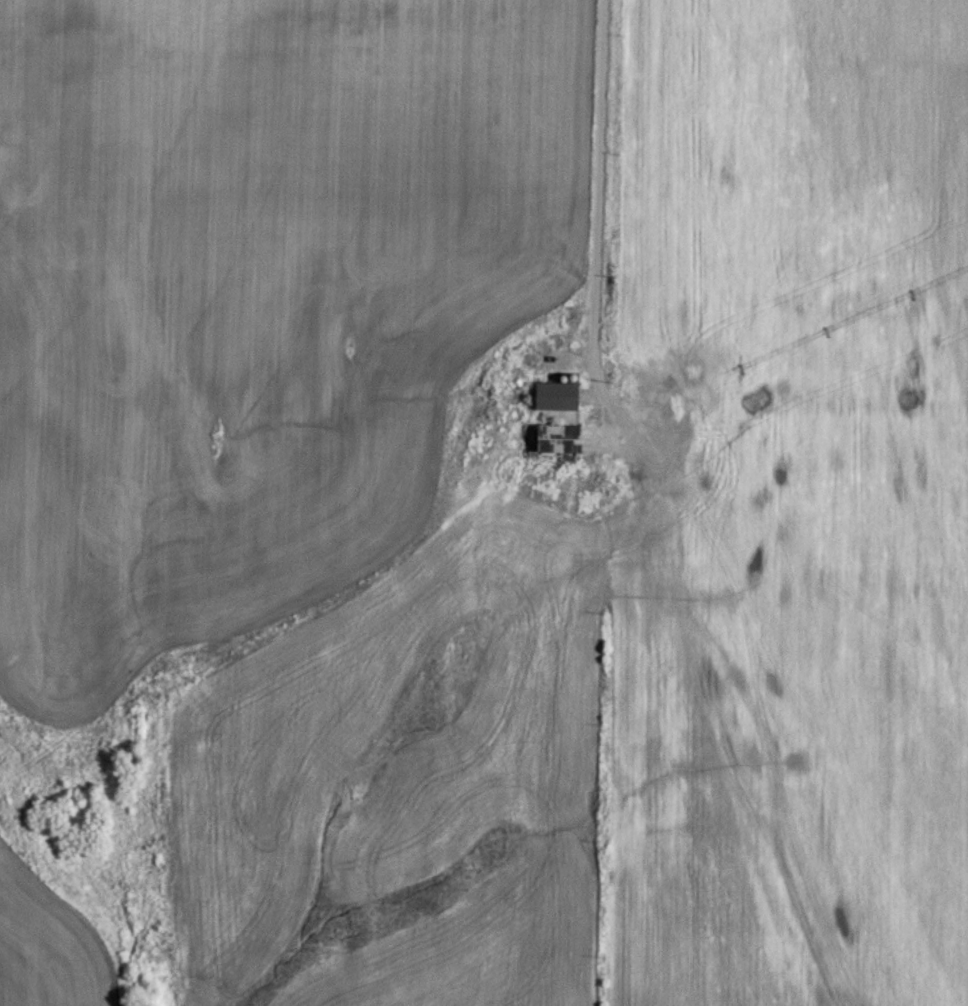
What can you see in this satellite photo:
road: (602, 155)
building: (562, 398)
building: (561, 440)
road: (696, 669)

